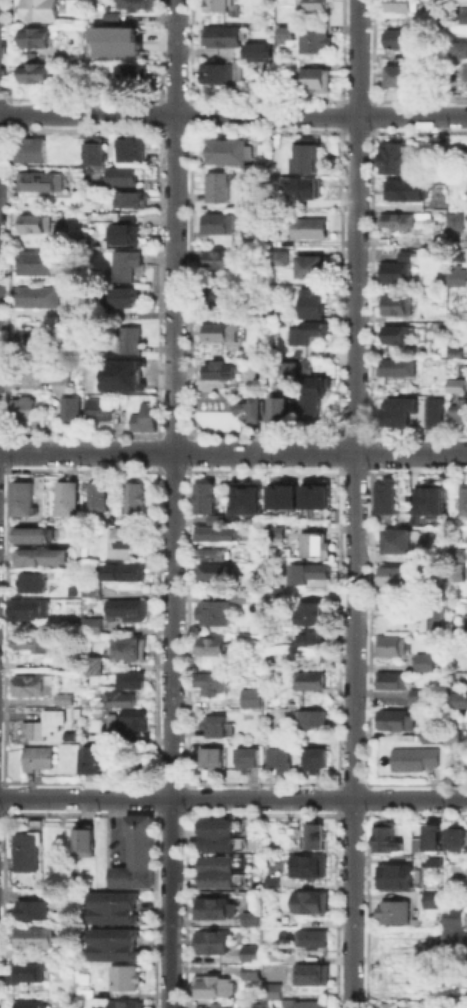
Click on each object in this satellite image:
building: (133, 4)
building: (215, 4)
building: (313, 4)
building: (399, 5)
building: (37, 10)
building: (459, 13)
building: (110, 20)
building: (282, 28)
building: (220, 35)
building: (34, 36)
building: (129, 37)
building: (399, 37)
building: (313, 40)
building: (255, 49)
building: (459, 49)
building: (398, 53)
building: (415, 53)
building: (131, 71)
building: (33, 72)
building: (217, 72)
building: (310, 74)
building: (396, 74)
road: (233, 114)
building: (27, 147)
building: (130, 147)
building: (93, 150)
building: (224, 150)
building: (305, 155)
building: (393, 156)
building: (124, 175)
building: (38, 181)
building: (217, 186)
building: (301, 187)
building: (406, 189)
building: (131, 199)
building: (437, 203)
building: (395, 219)
building: (453, 219)
building: (216, 222)
building: (33, 223)
building: (308, 227)
building: (122, 233)
building: (419, 238)
building: (276, 257)
building: (216, 258)
building: (37, 261)
building: (124, 263)
building: (313, 265)
building: (394, 271)
building: (455, 275)
building: (219, 294)
building: (33, 295)
building: (124, 296)
building: (310, 302)
building: (395, 304)
building: (217, 331)
building: (309, 333)
building: (396, 333)
building: (31, 337)
building: (130, 338)
building: (453, 350)
building: (397, 366)
building: (285, 368)
building: (221, 370)
building: (30, 371)
building: (130, 375)
building: (60, 380)
building: (456, 383)
building: (311, 393)
building: (274, 404)
building: (249, 405)
building: (22, 408)
building: (70, 408)
building: (98, 409)
building: (458, 409)
building: (392, 410)
building: (433, 410)
building: (144, 416)
road: (233, 451)
building: (99, 492)
building: (317, 493)
building: (384, 494)
building: (282, 495)
building: (66, 497)
building: (204, 497)
building: (246, 497)
building: (428, 498)
building: (23, 499)
building: (135, 500)
building: (462, 500)
road: (172, 504)
road: (355, 504)
building: (228, 514)
building: (214, 518)
building: (74, 531)
building: (274, 531)
building: (214, 532)
building: (30, 533)
building: (427, 536)
building: (393, 538)
building: (122, 540)
building: (314, 544)
building: (41, 550)
building: (211, 552)
building: (426, 554)
building: (456, 564)
building: (128, 570)
building: (211, 570)
building: (308, 570)
building: (393, 575)
building: (30, 581)
building: (274, 585)
building: (91, 589)
building: (237, 592)
building: (28, 608)
building: (125, 609)
building: (213, 610)
building: (311, 611)
building: (433, 616)
building: (90, 623)
building: (312, 635)
building: (29, 641)
building: (208, 644)
building: (389, 645)
building: (127, 647)
building: (423, 662)
building: (90, 668)
building: (129, 677)
building: (308, 680)
building: (390, 680)
building: (206, 681)
building: (31, 683)
building: (416, 695)
building: (62, 697)
building: (117, 697)
building: (249, 698)
building: (457, 699)
building: (309, 715)
building: (393, 719)
building: (130, 720)
building: (42, 723)
building: (213, 724)
building: (428, 732)
building: (449, 735)
building: (449, 749)
building: (37, 758)
building: (210, 758)
building: (413, 758)
building: (245, 759)
building: (277, 759)
building: (311, 760)
building: (91, 764)
building: (135, 765)
road: (233, 798)
road: (118, 828)
building: (216, 833)
building: (384, 835)
building: (313, 836)
building: (433, 836)
building: (454, 836)
building: (85, 840)
building: (417, 844)
building: (25, 851)
building: (135, 855)
building: (430, 860)
building: (305, 865)
building: (216, 870)
building: (393, 879)
building: (269, 881)
building: (431, 899)
building: (310, 902)
building: (108, 903)
building: (32, 908)
building: (210, 908)
building: (392, 911)
building: (248, 917)
building: (452, 927)
building: (309, 937)
building: (29, 938)
building: (109, 940)
building: (210, 940)
building: (270, 950)
building: (243, 951)
building: (249, 970)
building: (26, 971)
building: (310, 973)
building: (123, 977)
building: (213, 985)
building: (270, 988)
building: (85, 992)
building: (122, 1003)
building: (259, 1003)
building: (307, 1004)
building: (30, 1005)
building: (384, 1005)
building: (216, 1006)

